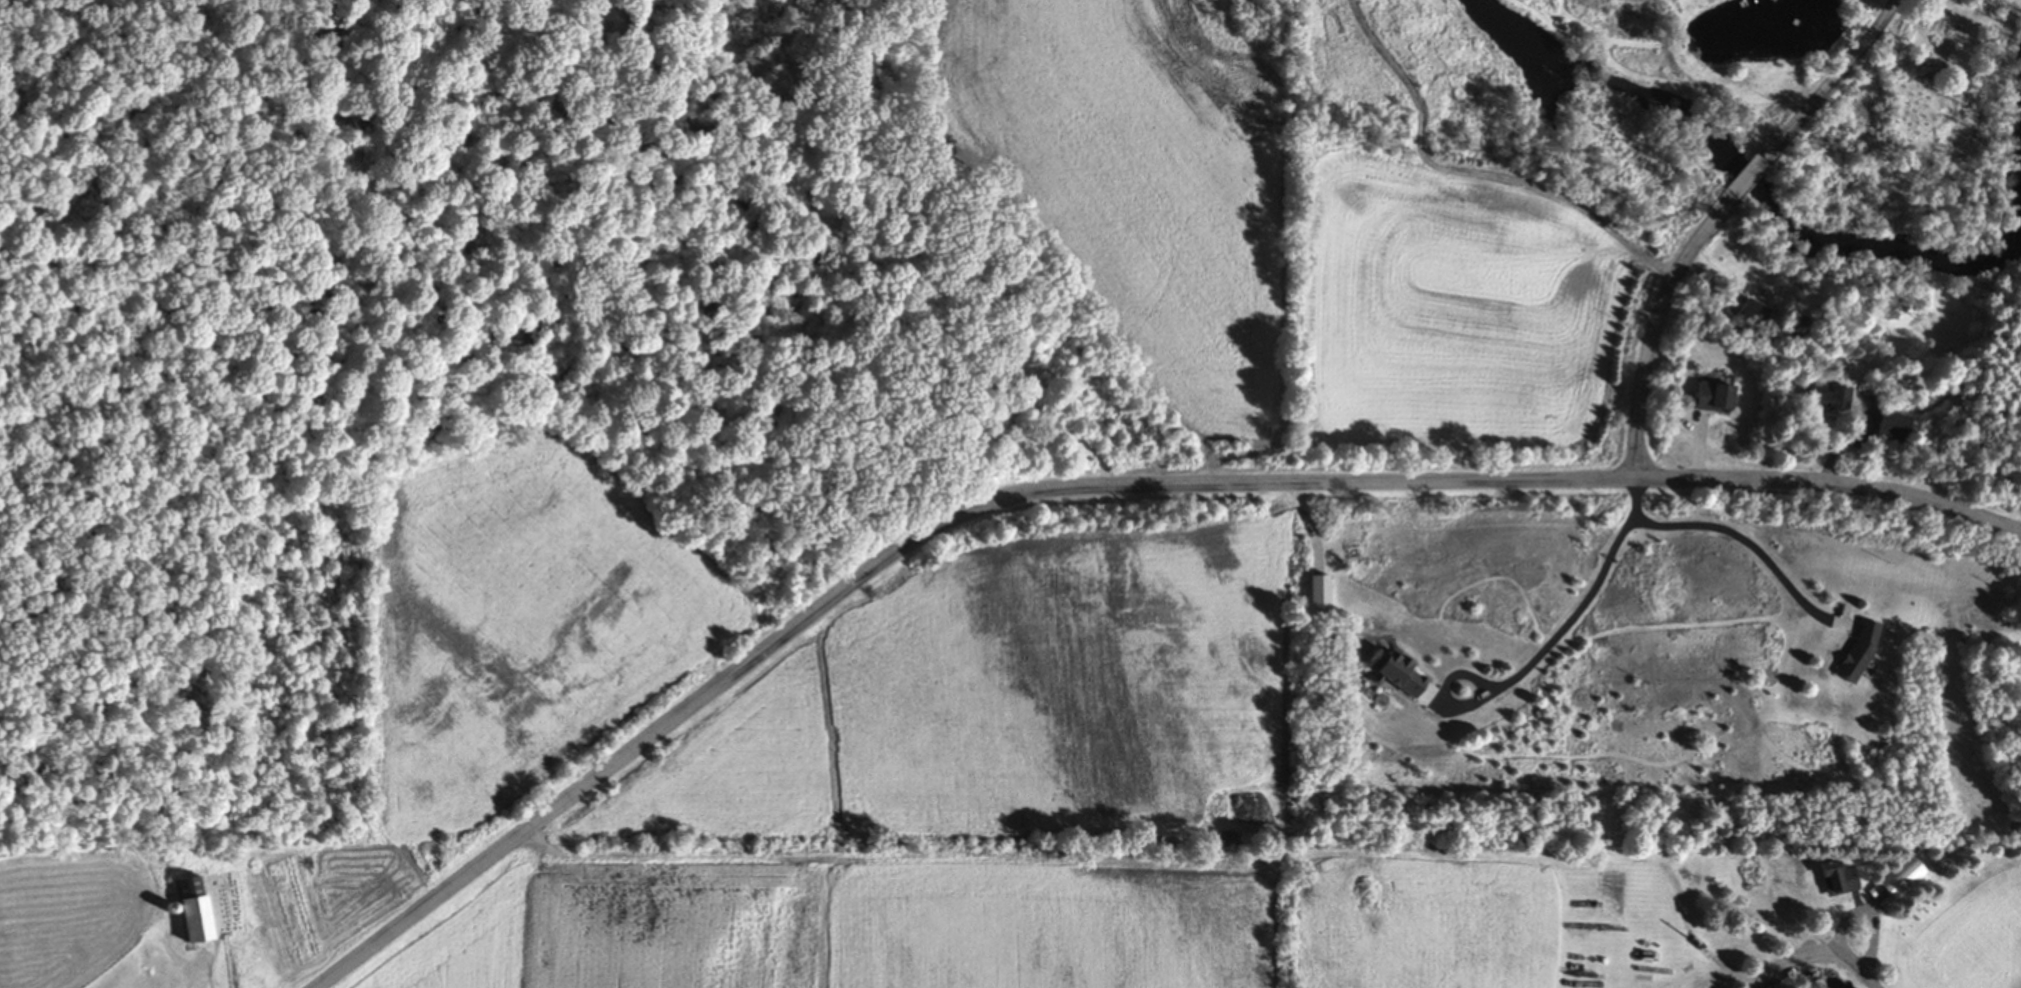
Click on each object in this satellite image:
road: (1835, 82)
road: (1747, 177)
river: (1791, 212)
building: (1753, 315)
road: (1655, 329)
building: (1824, 398)
building: (1711, 399)
building: (1891, 427)
road: (1094, 489)
road: (1741, 536)
road: (1569, 617)
building: (1856, 653)
building: (1391, 673)
building: (1209, 759)
building: (1834, 880)
building: (1896, 882)
building: (186, 911)
road: (1808, 953)
road: (199, 968)
road: (1868, 982)

